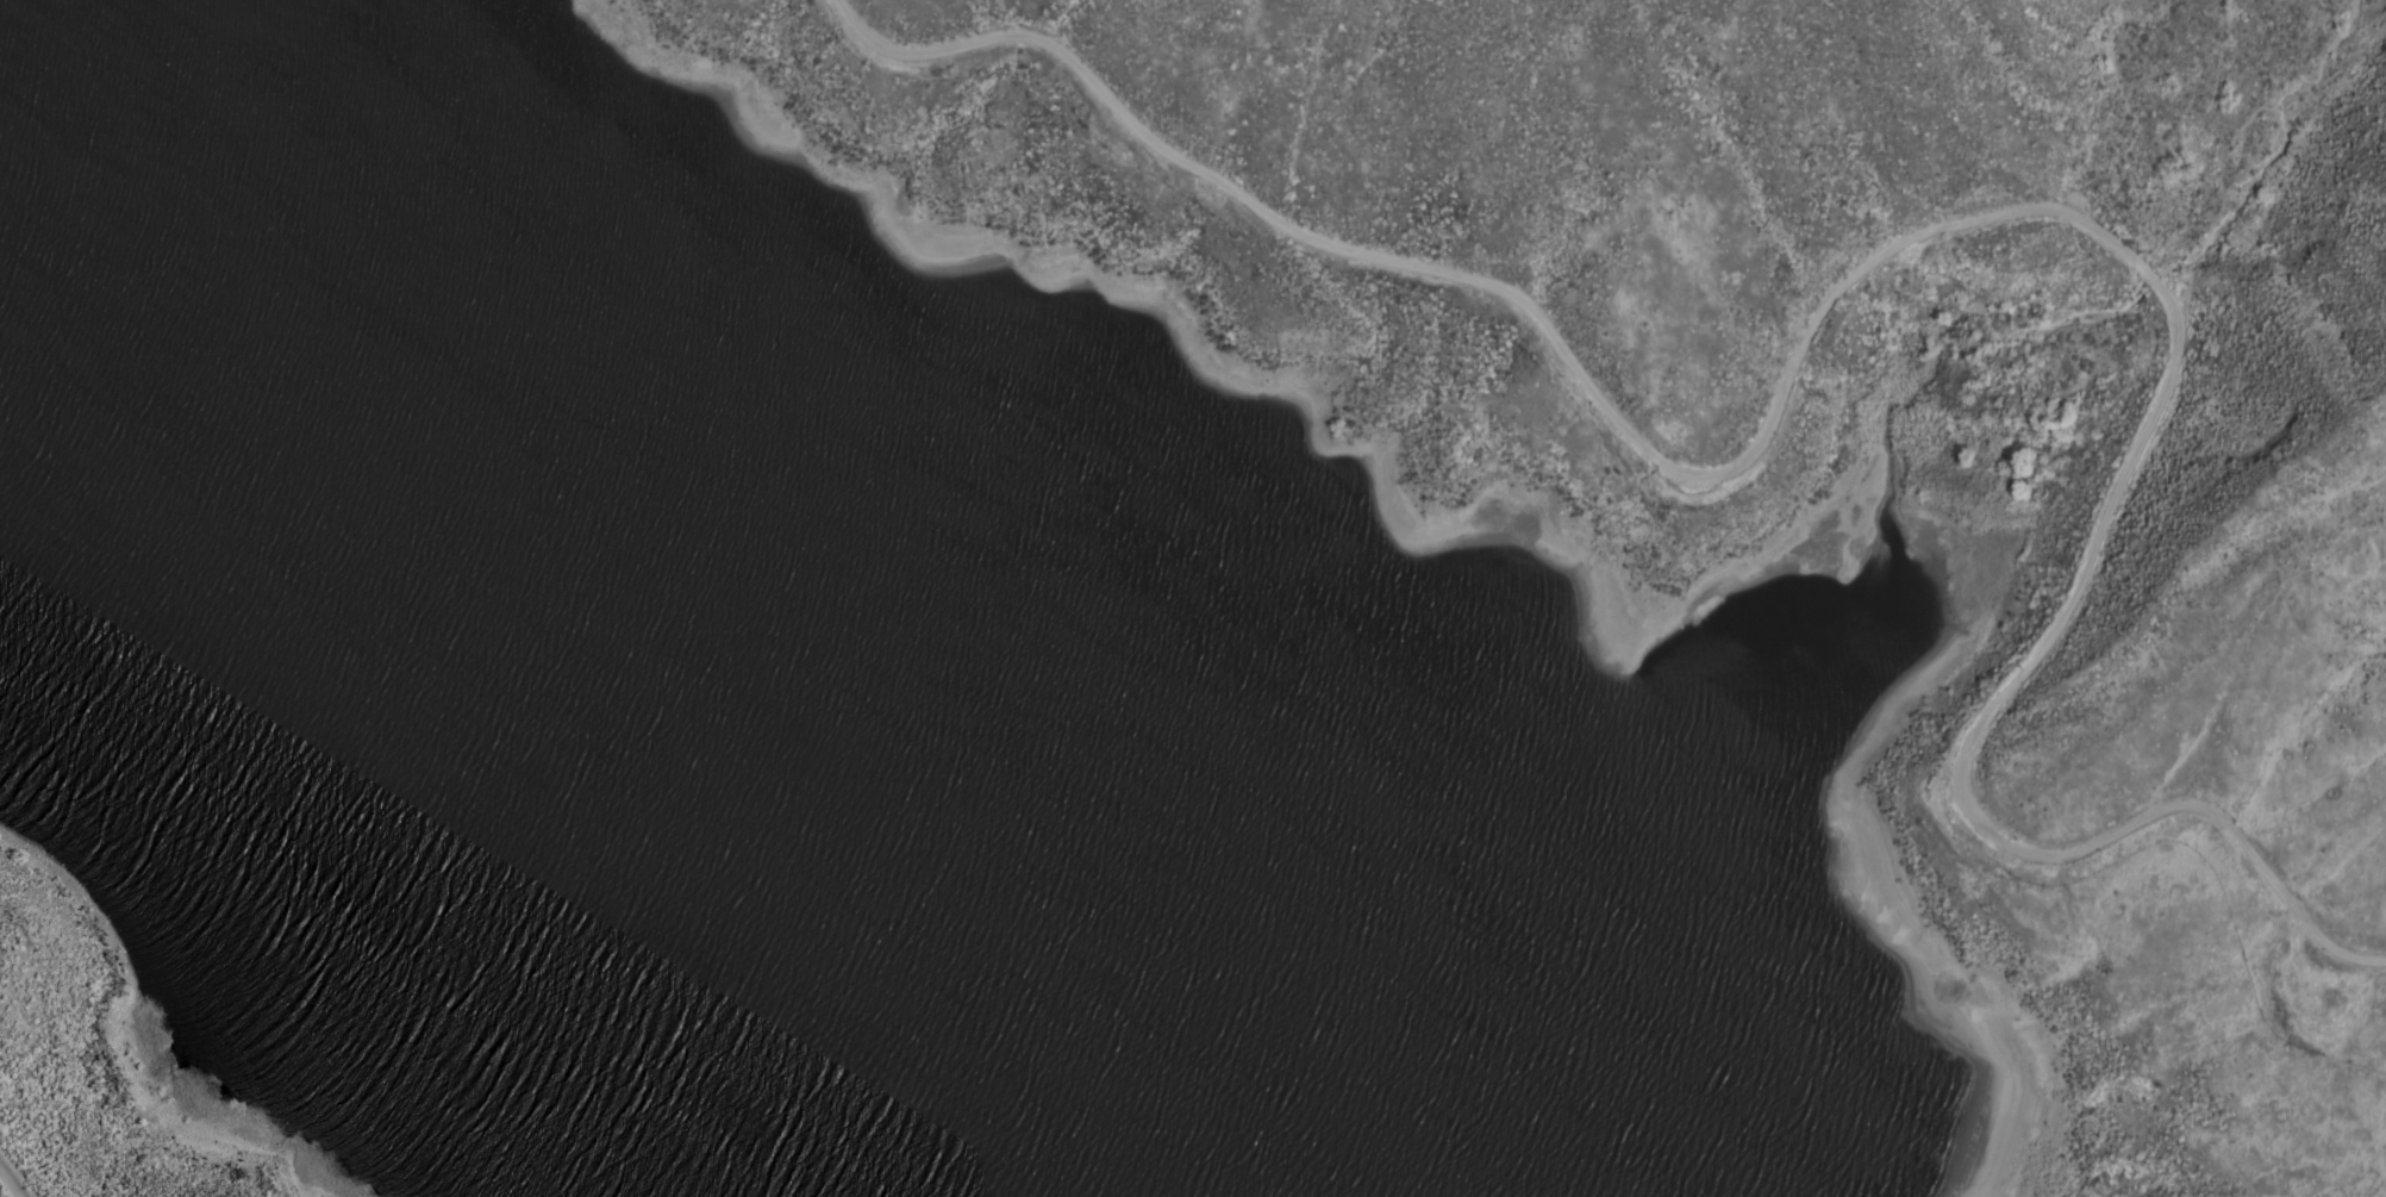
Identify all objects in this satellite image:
road: (1078, 64)
road: (2154, 282)
road: (8, 1184)

